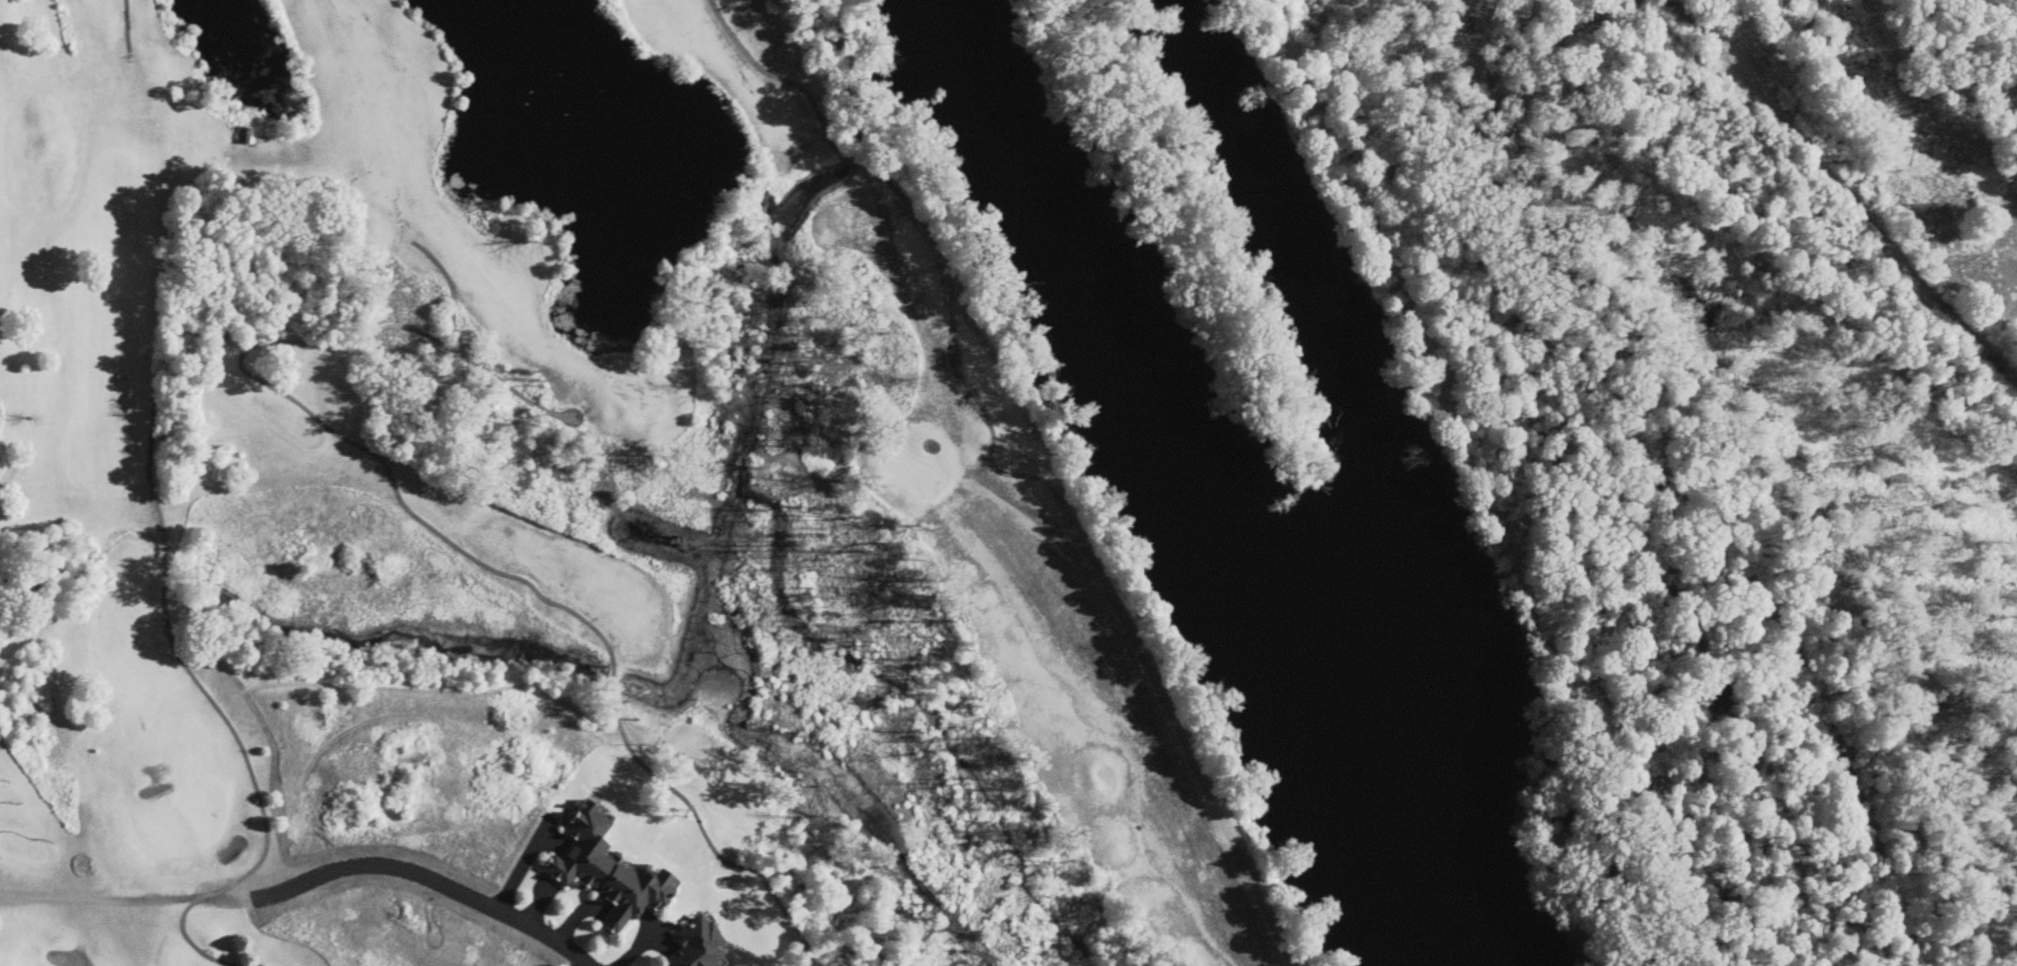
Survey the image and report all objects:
building: (244, 137)
road: (1399, 331)
river: (1188, 500)
park: (560, 517)
building: (607, 872)
road: (436, 882)
road: (136, 900)
building: (697, 945)

